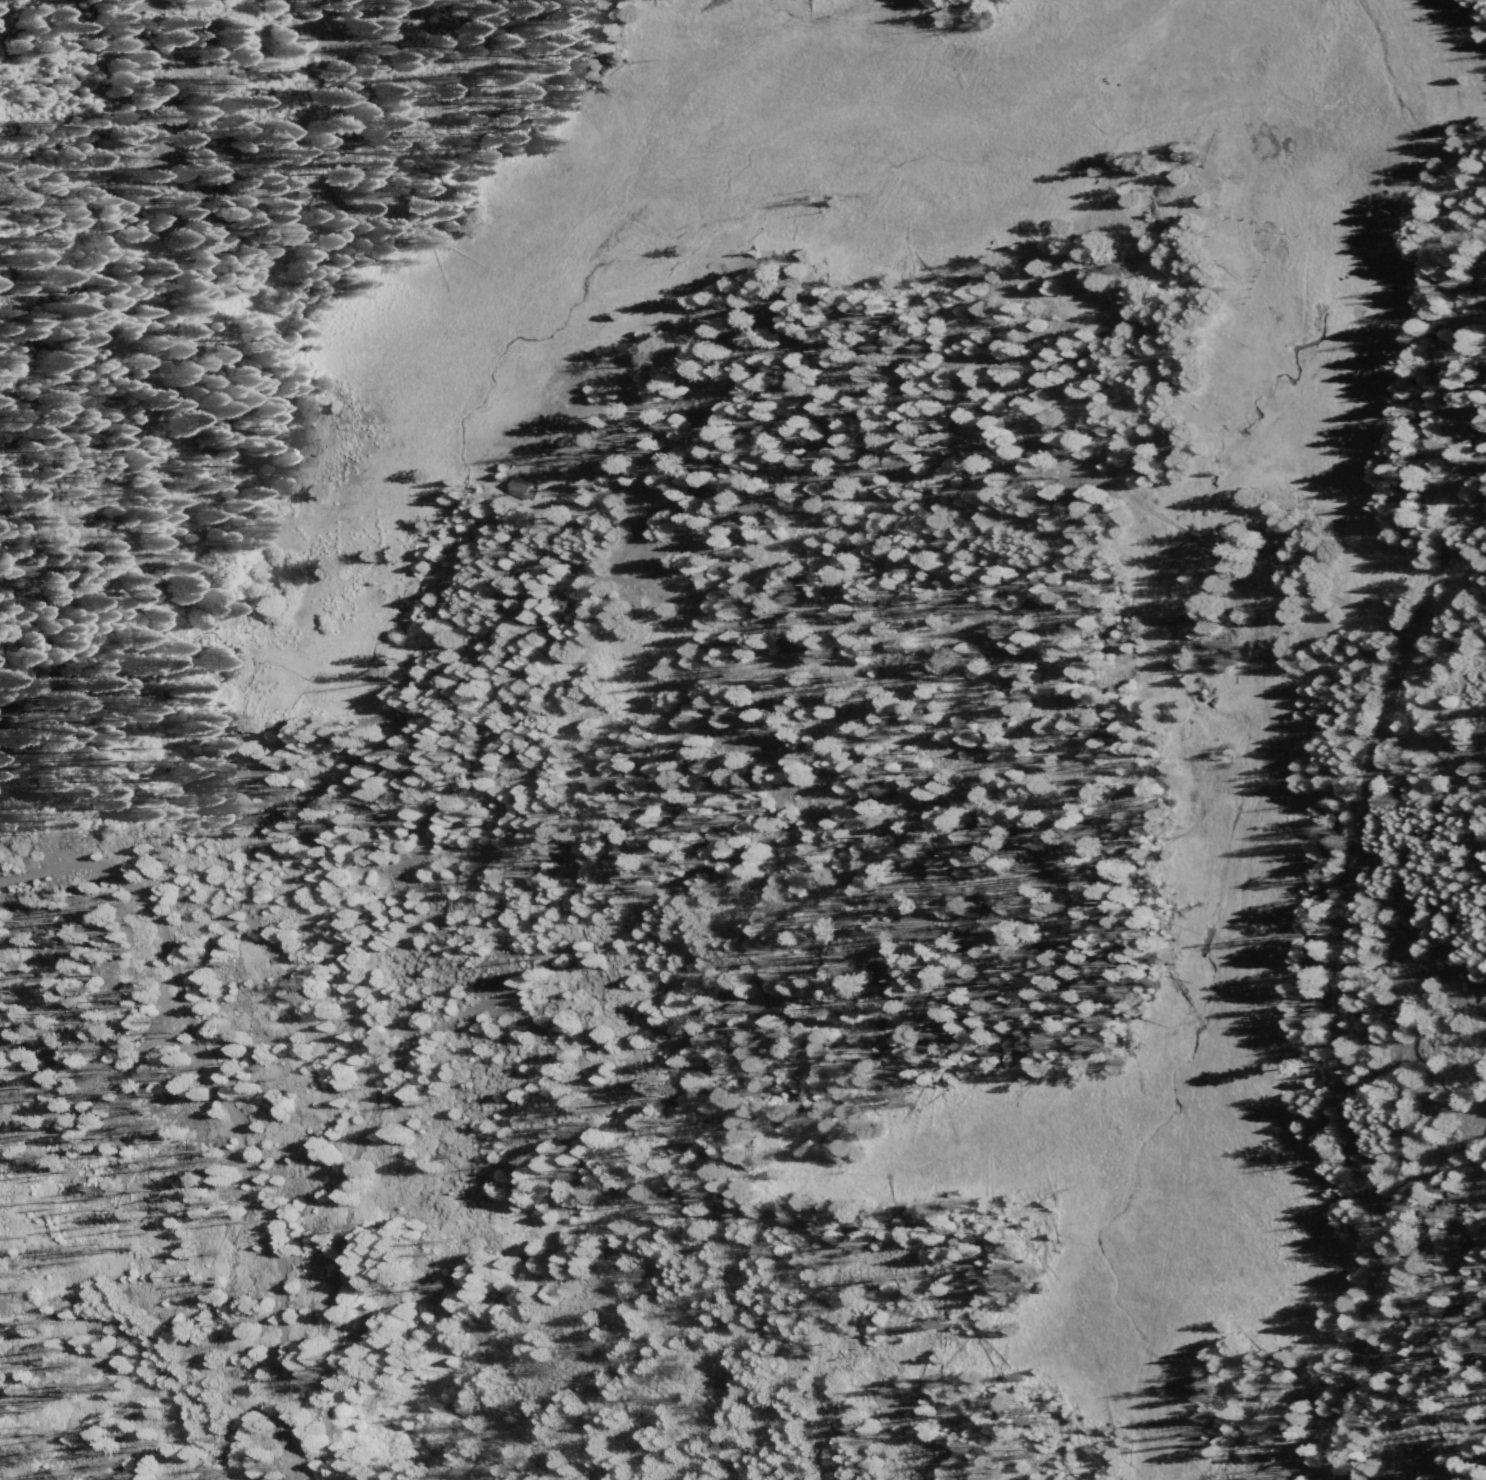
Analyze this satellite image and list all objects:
building: (514, 488)
road: (1363, 880)
road: (224, 1113)

